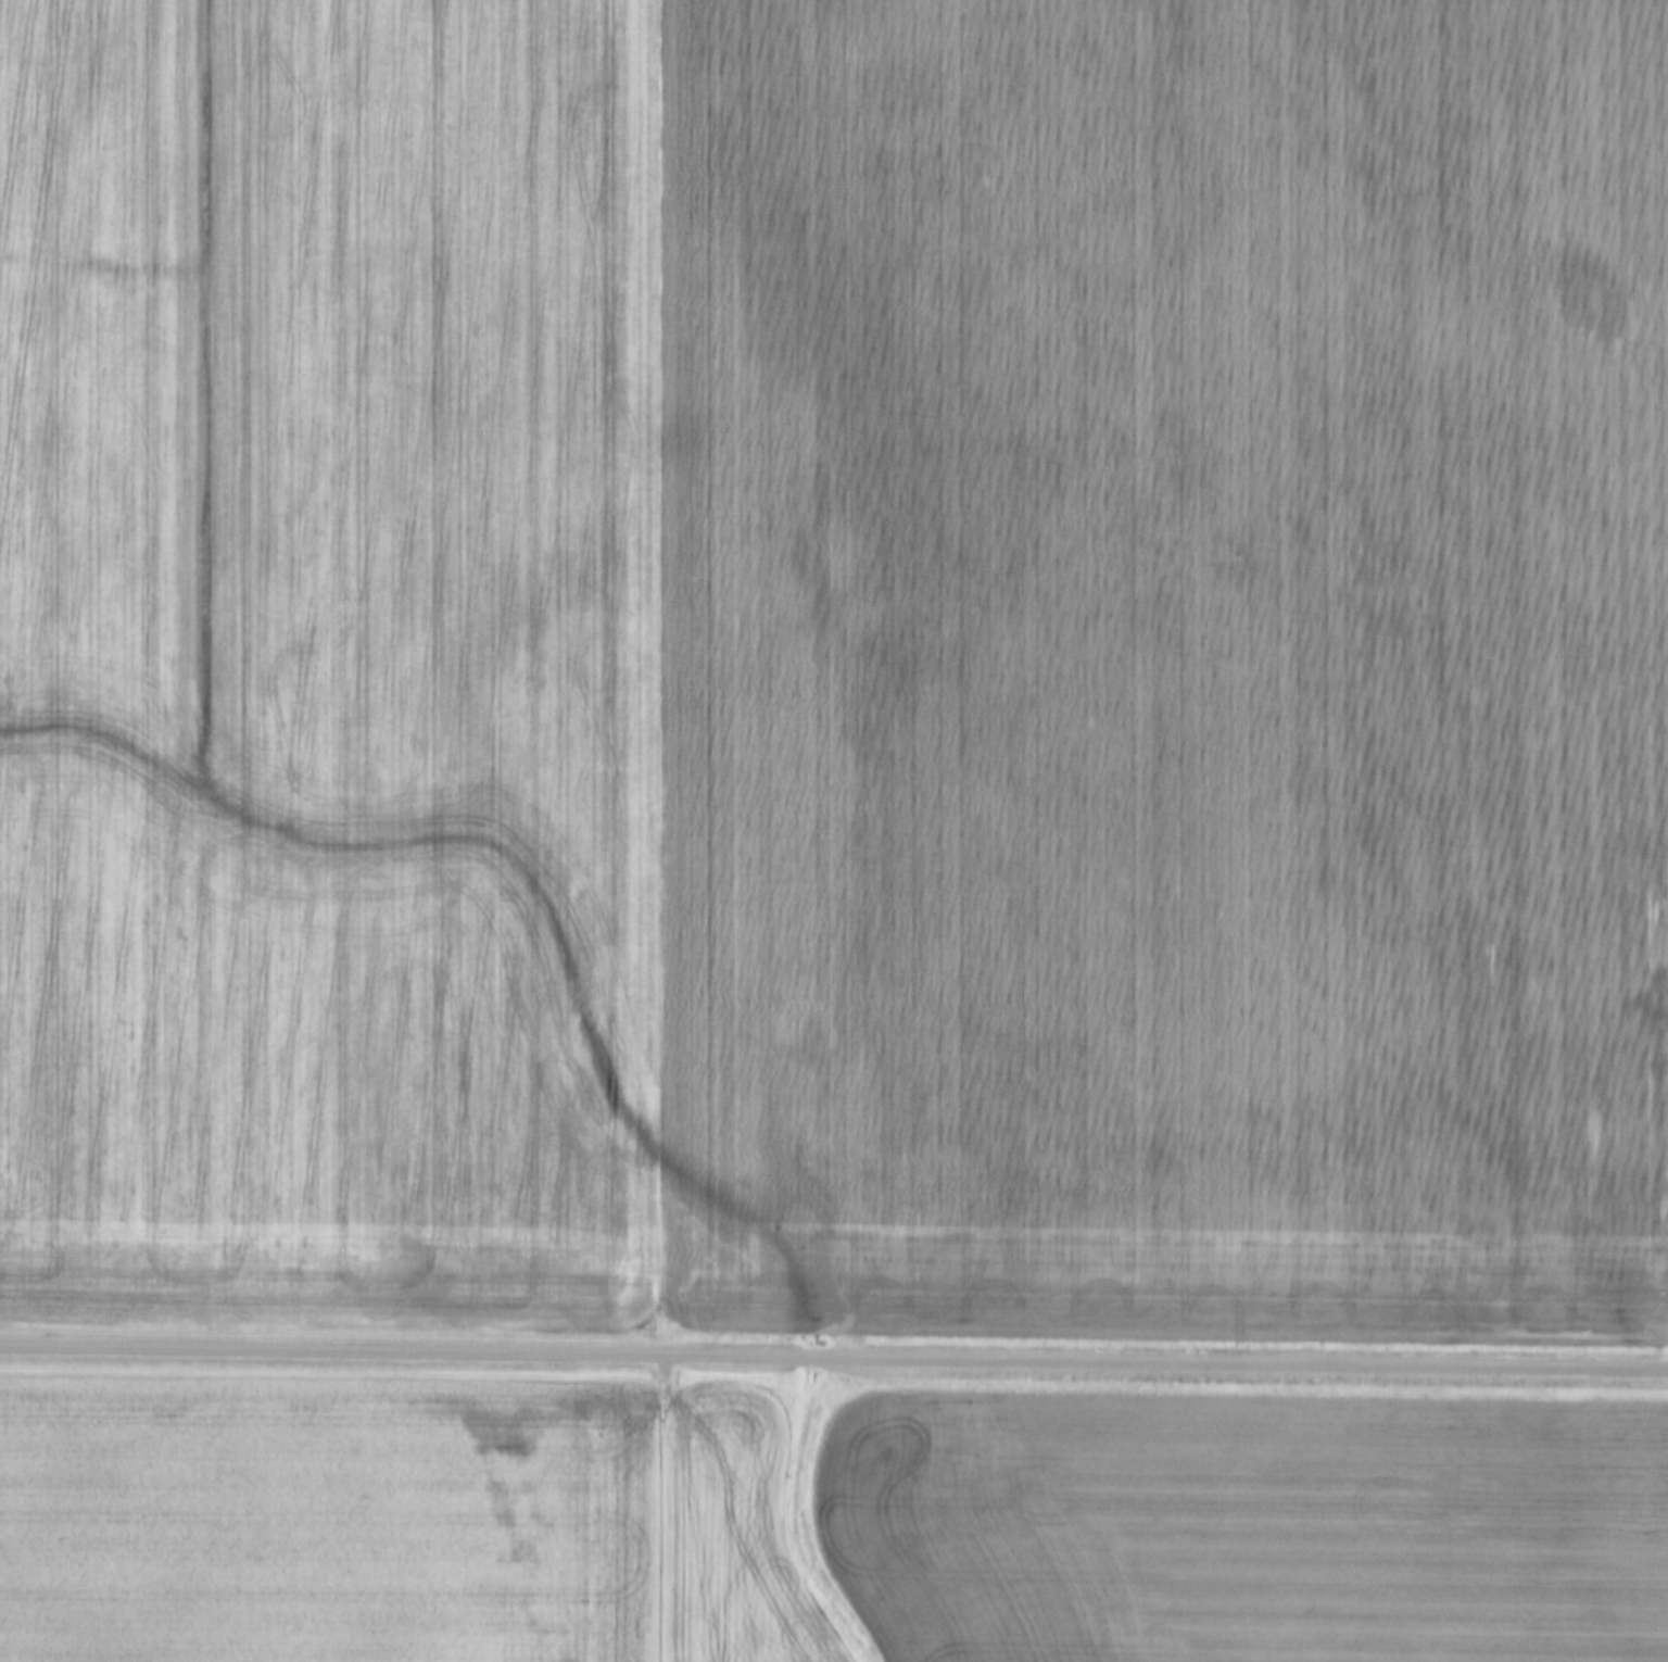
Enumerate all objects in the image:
road: (833, 1358)

